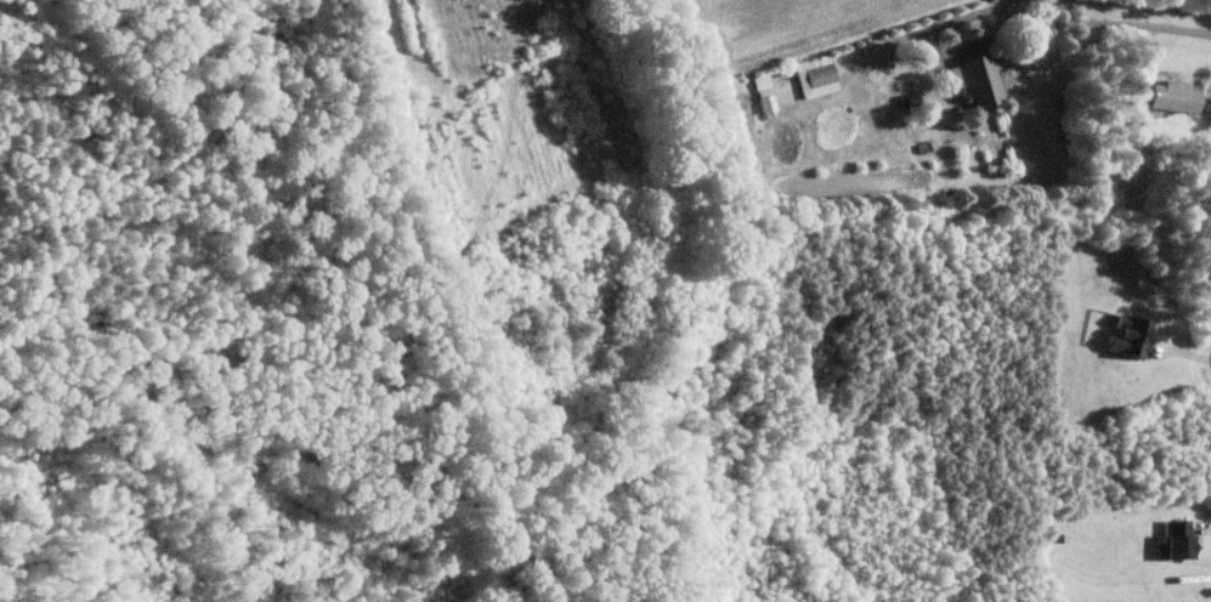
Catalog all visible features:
road: (1151, 33)
building: (819, 74)
building: (980, 79)
building: (1178, 95)
building: (770, 101)
building: (1210, 265)
building: (1137, 334)
building: (1182, 539)

